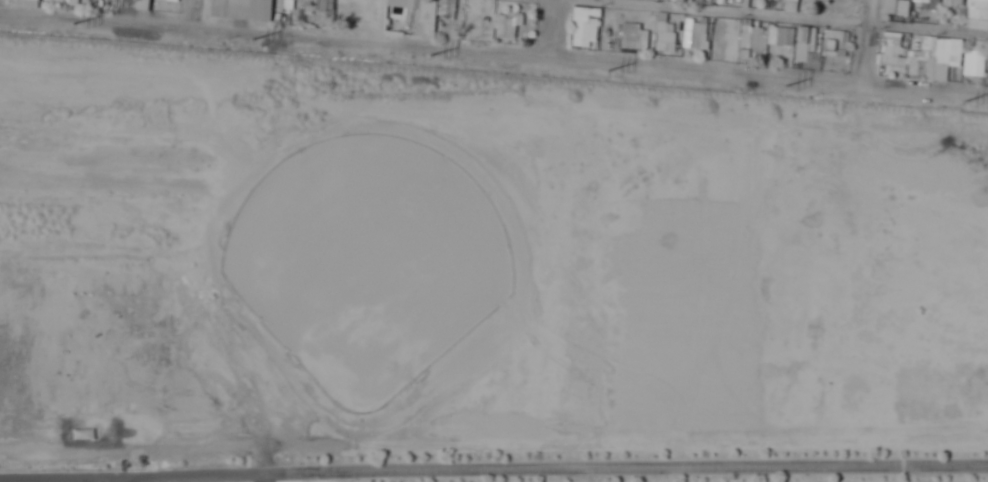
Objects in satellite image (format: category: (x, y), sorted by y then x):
road: (863, 40)

